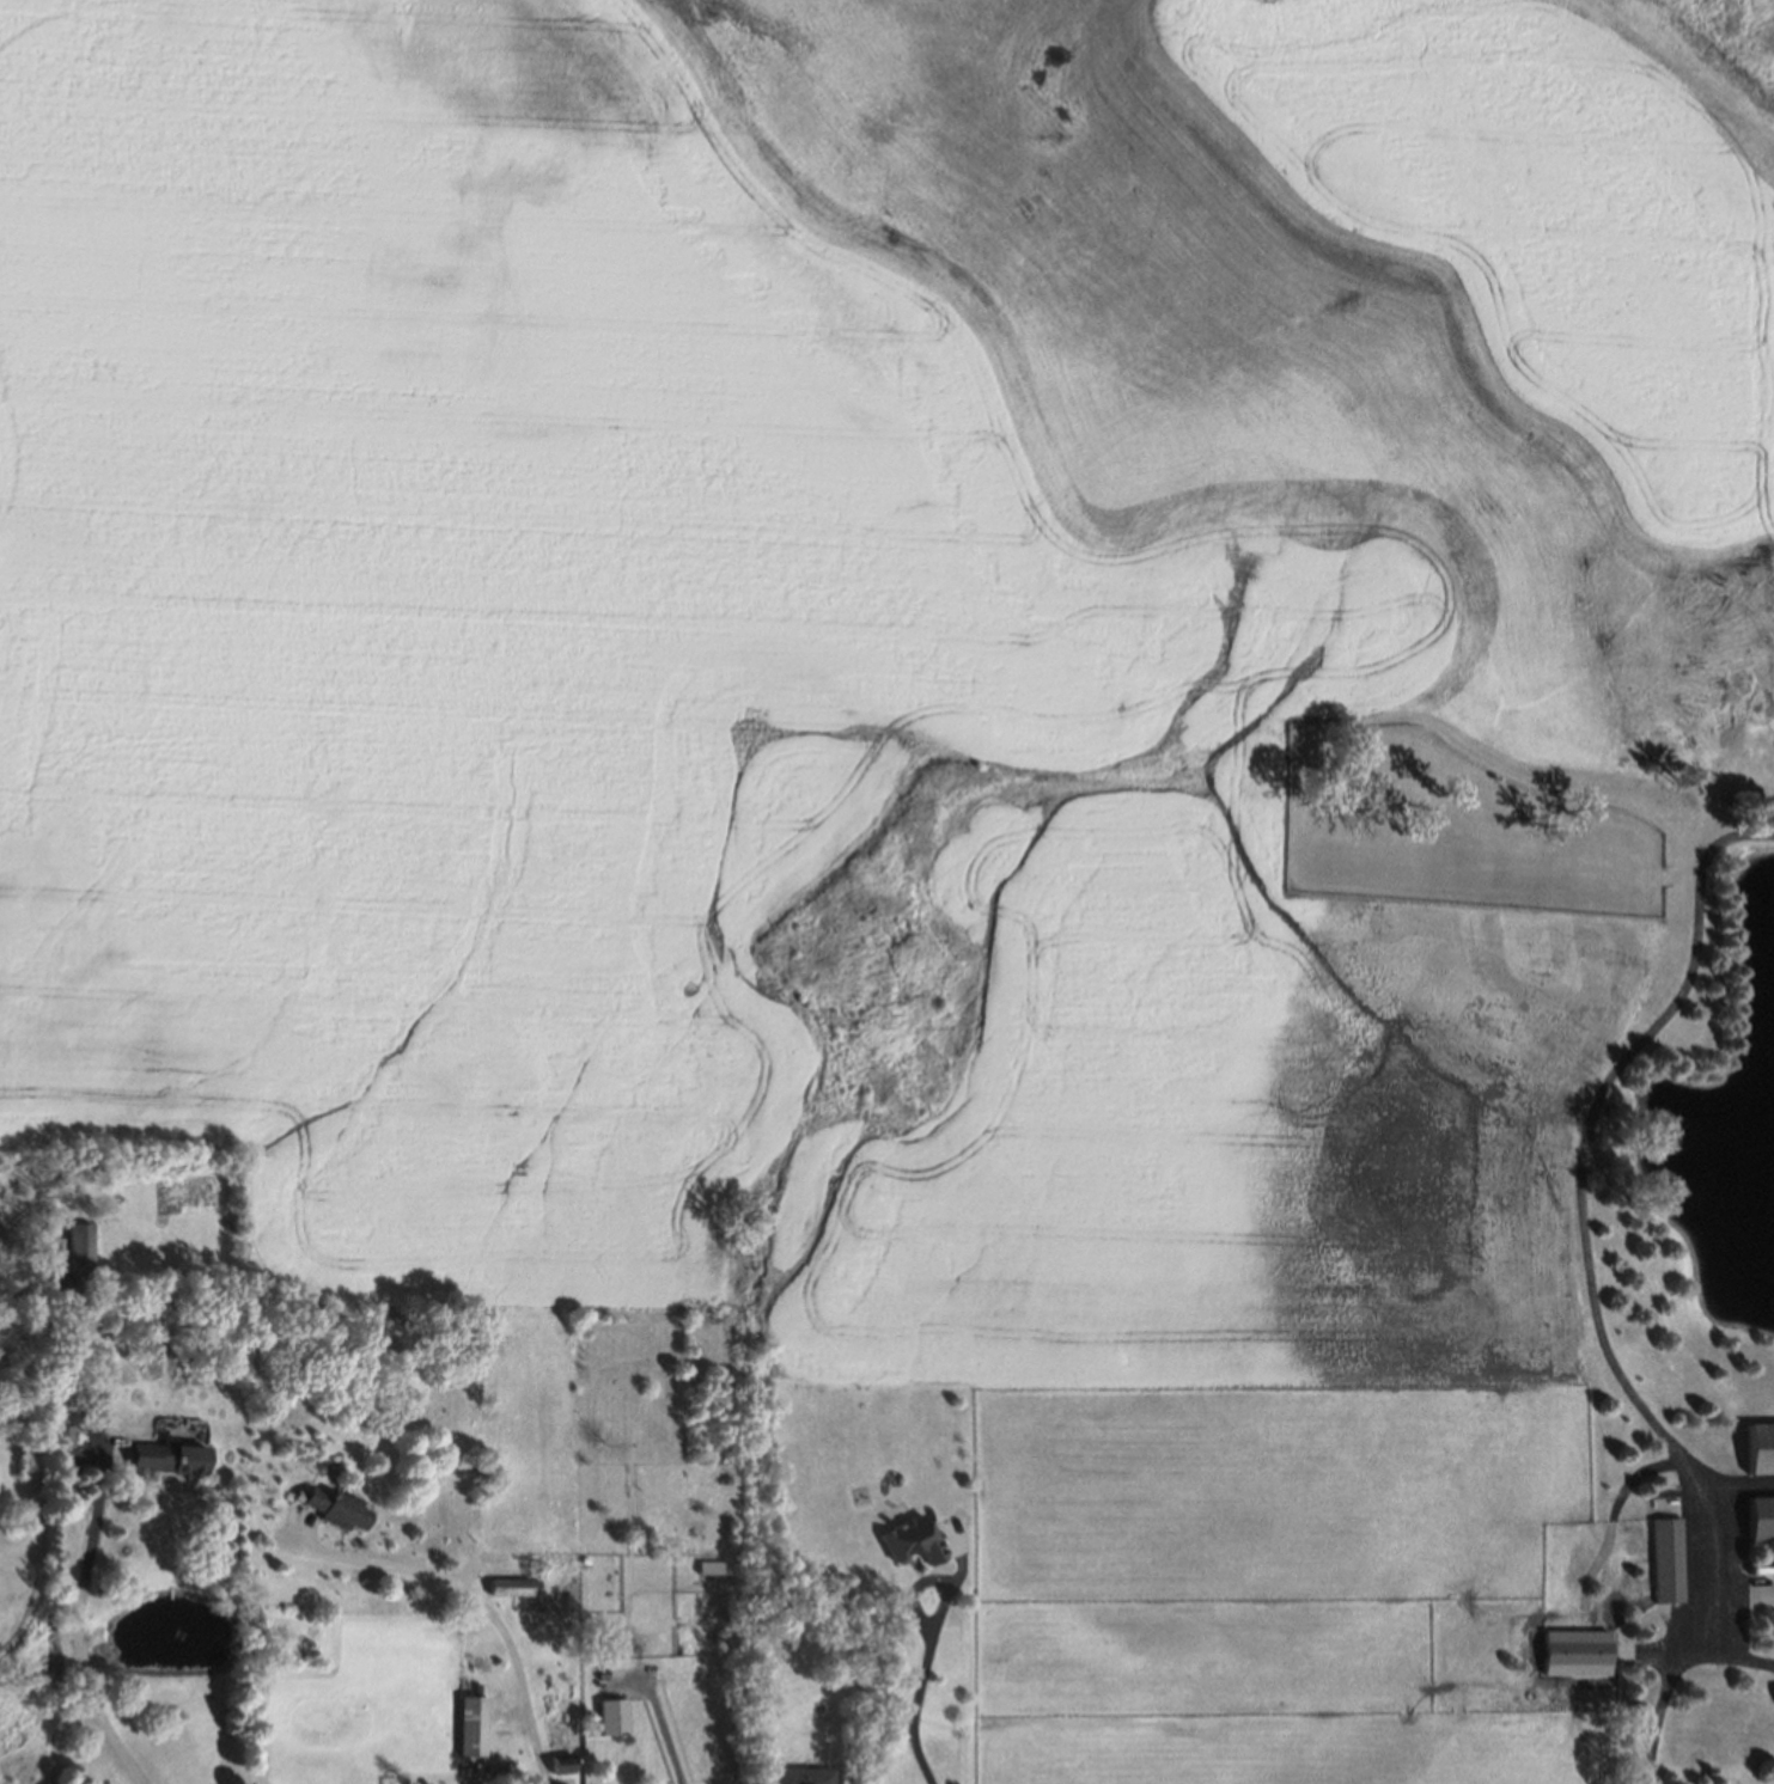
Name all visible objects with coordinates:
building: (74, 1242)
building: (55, 1247)
road: (1592, 1288)
building: (60, 1432)
building: (1758, 1449)
building: (160, 1458)
building: (331, 1504)
building: (1760, 1519)
building: (907, 1539)
building: (1668, 1560)
building: (508, 1584)
road: (482, 1607)
road: (75, 1637)
building: (1579, 1652)
road: (1732, 1655)
road: (914, 1687)
building: (610, 1717)
building: (470, 1724)
road: (664, 1728)
building: (559, 1758)
building: (480, 1770)
building: (797, 1774)

